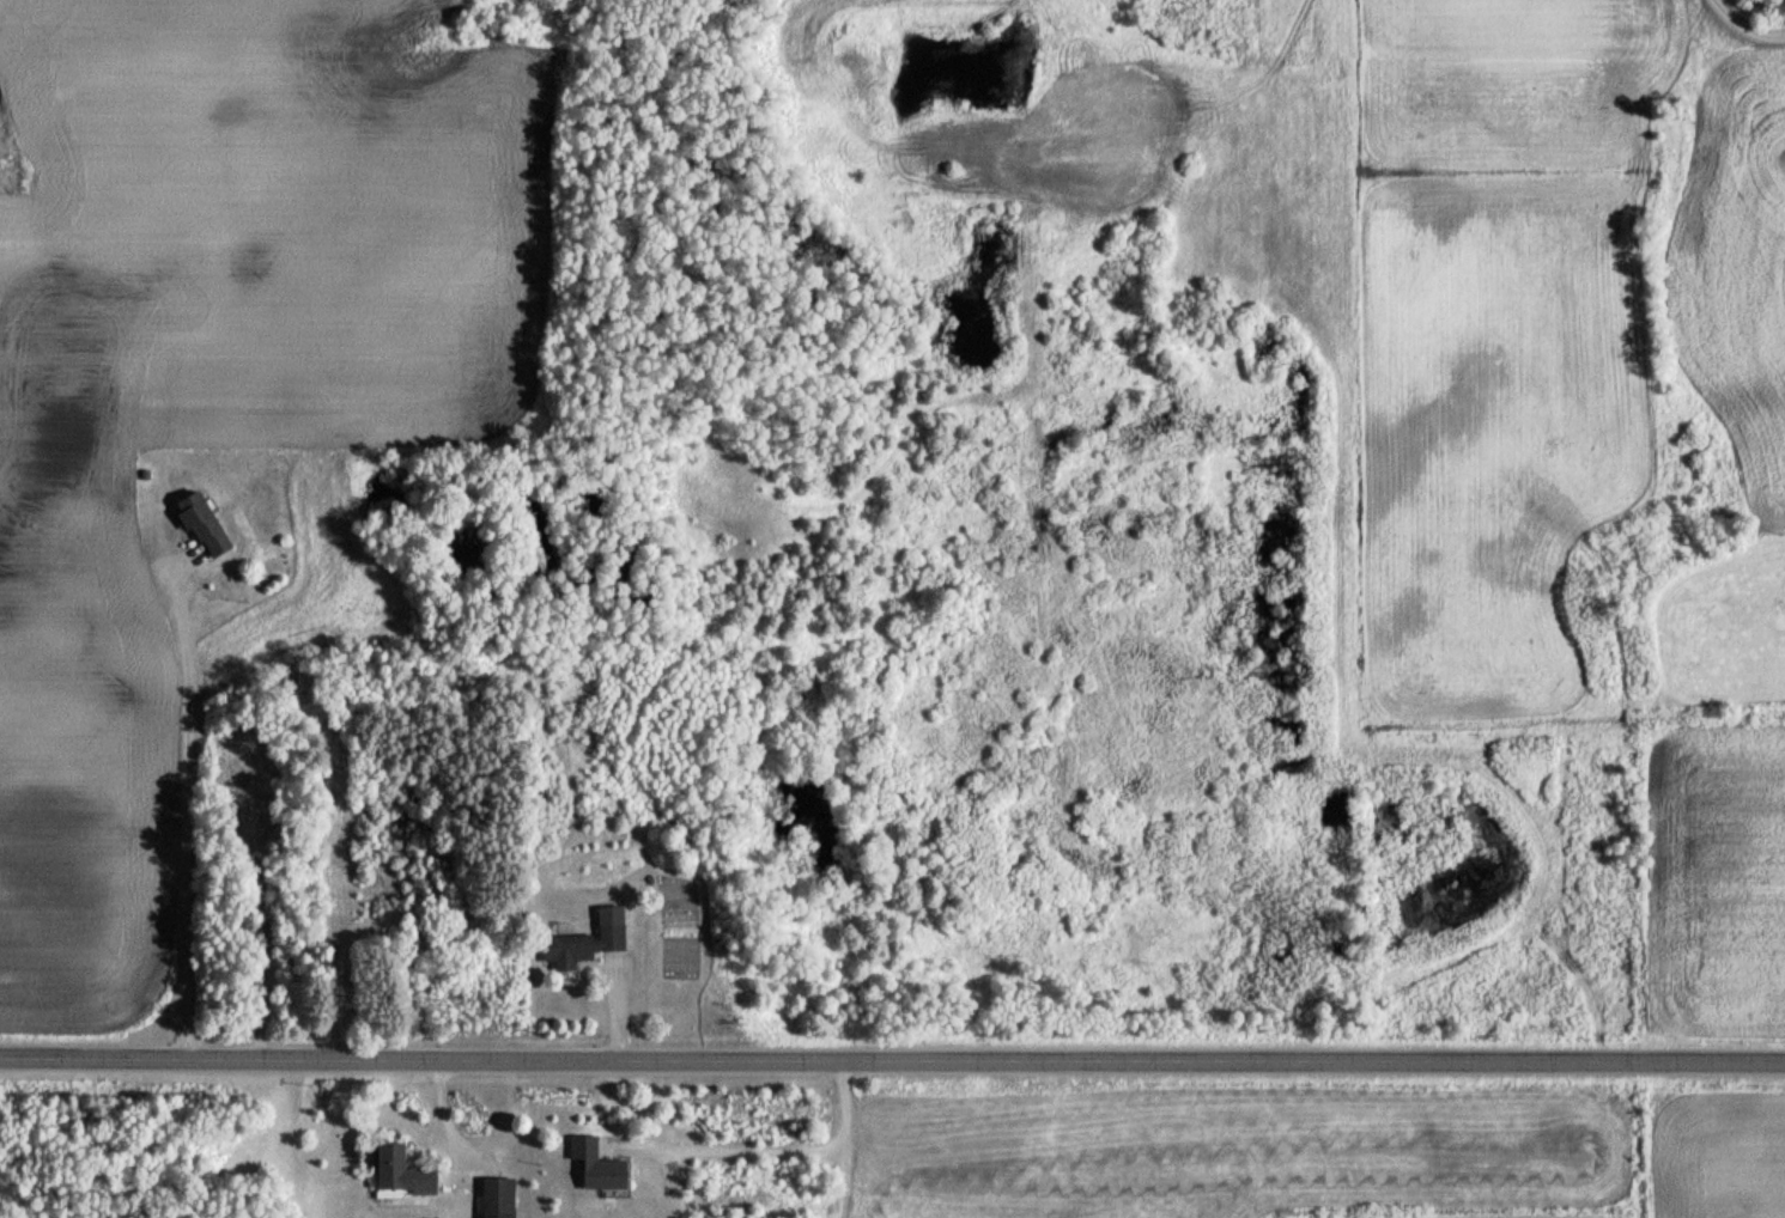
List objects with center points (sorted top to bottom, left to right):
building: (201, 523)
building: (581, 945)
road: (892, 1049)
building: (593, 1165)
building: (399, 1170)
building: (497, 1198)

